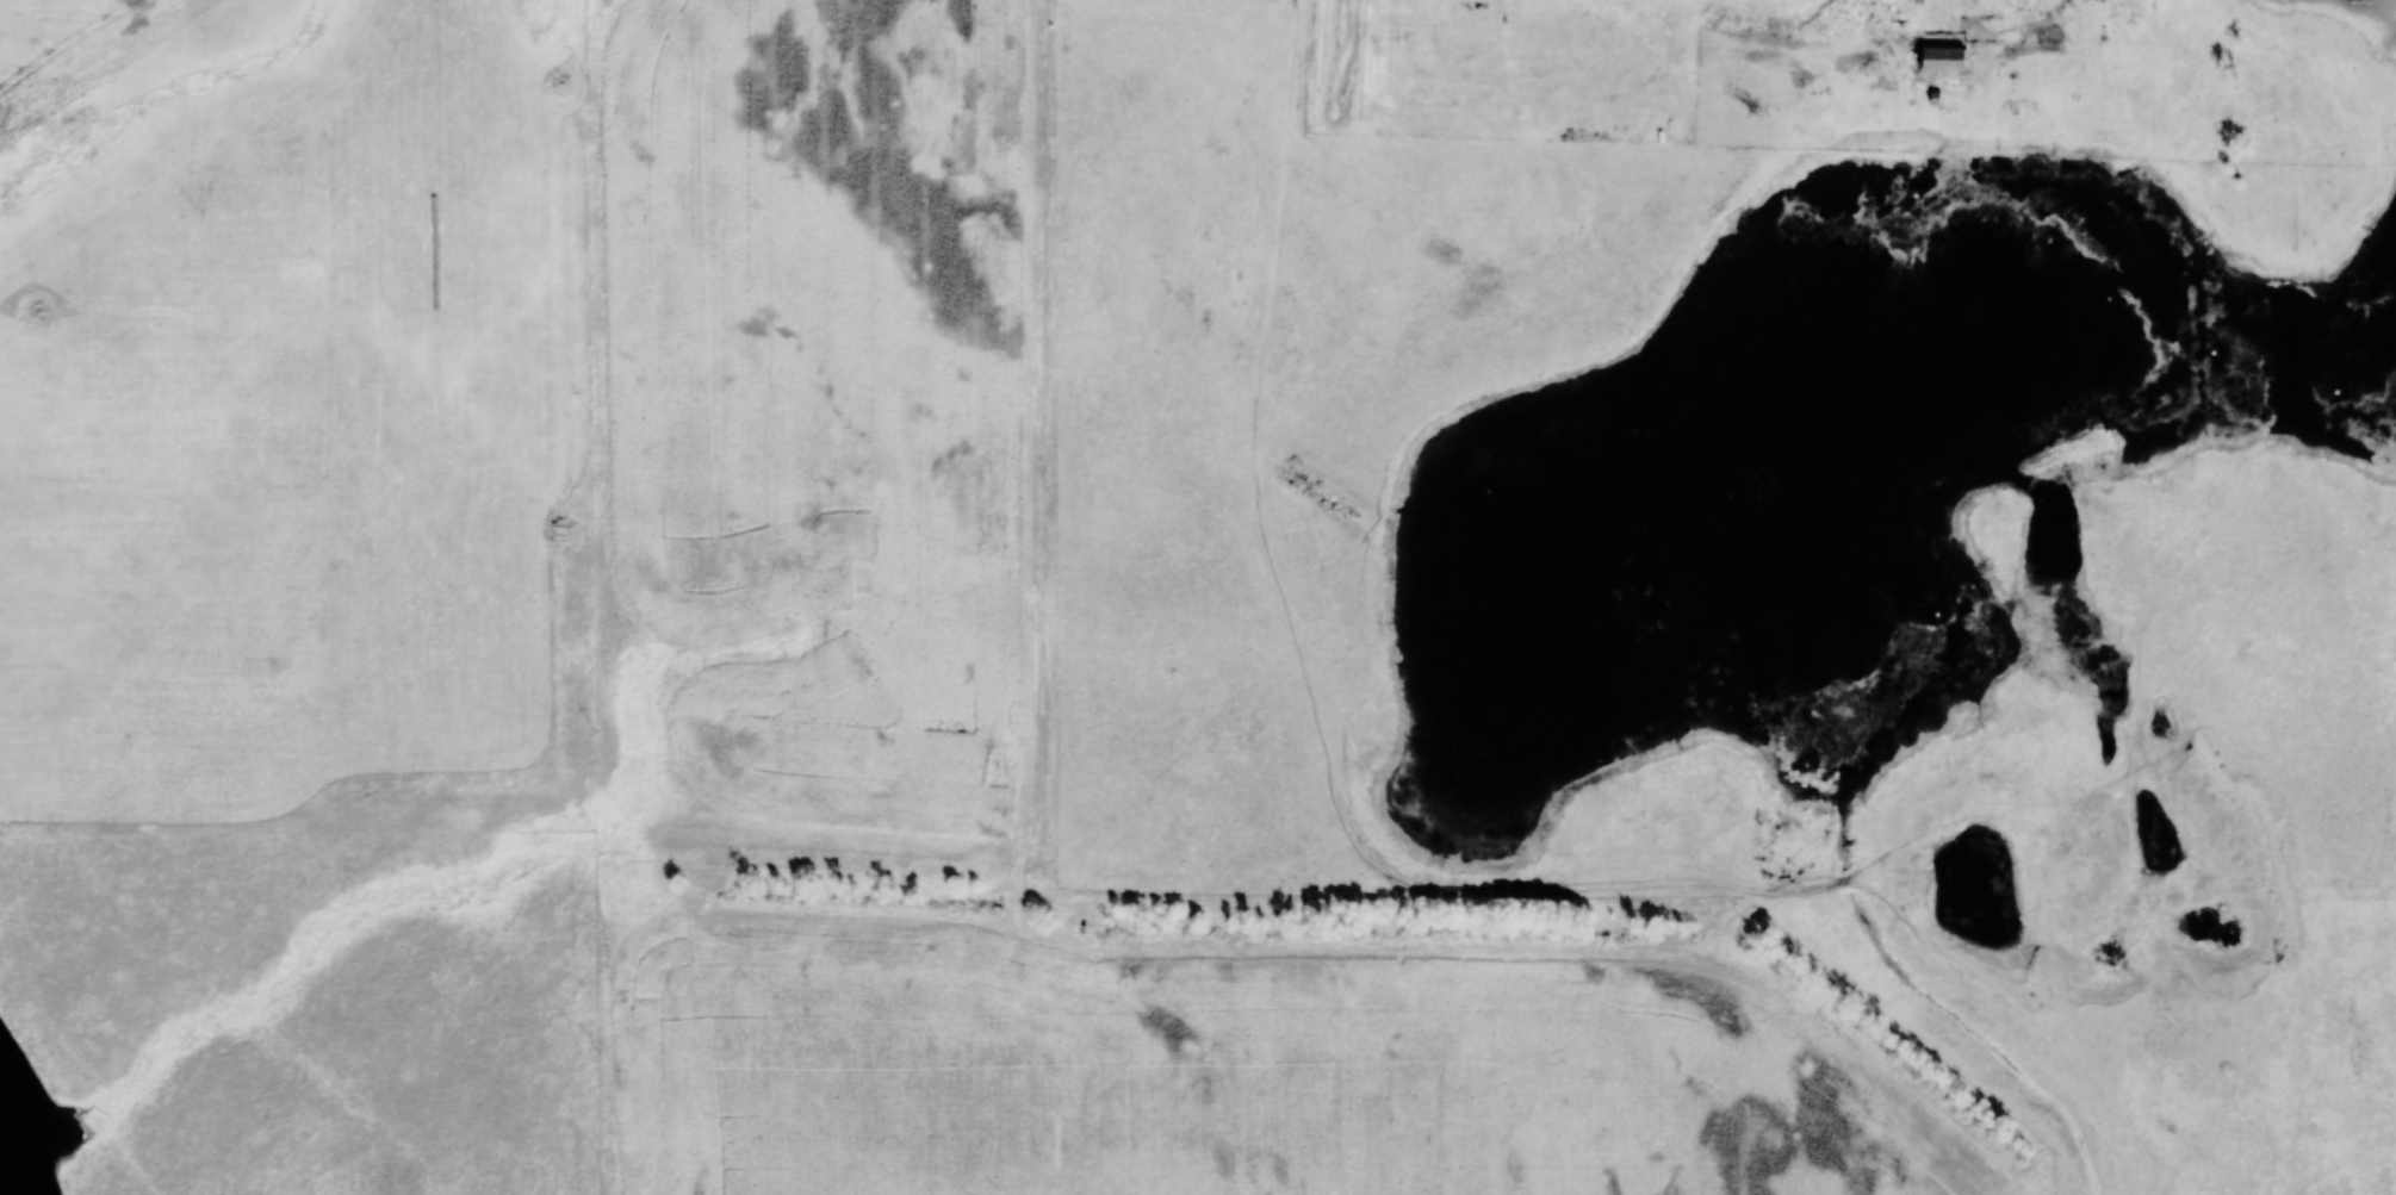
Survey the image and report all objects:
building: (1942, 60)

